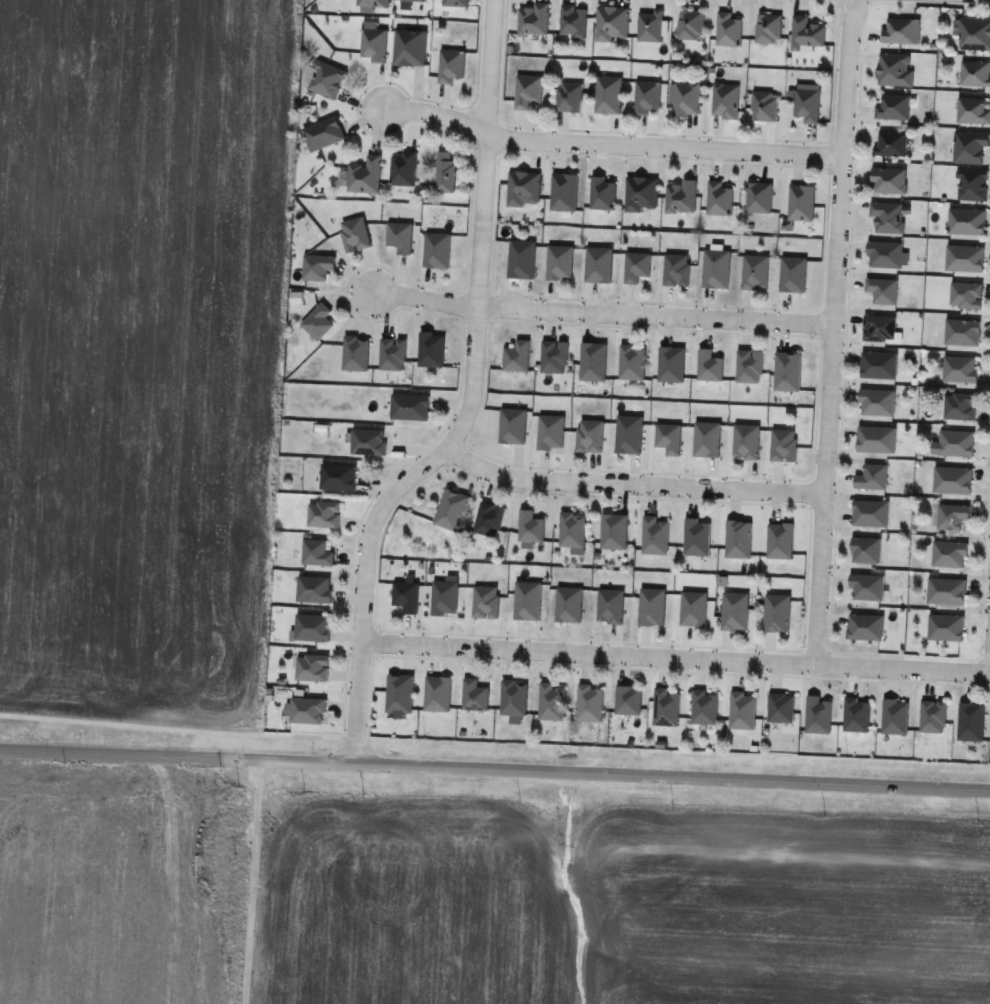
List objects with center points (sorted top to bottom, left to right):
building: (455, 3)
building: (369, 4)
building: (406, 4)
building: (532, 19)
building: (572, 20)
building: (611, 23)
building: (649, 25)
building: (690, 25)
building: (767, 28)
building: (728, 29)
building: (900, 30)
building: (805, 32)
building: (975, 33)
building: (372, 44)
building: (409, 47)
building: (450, 65)
building: (894, 69)
building: (974, 73)
building: (326, 79)
building: (527, 90)
building: (607, 94)
building: (568, 96)
building: (646, 96)
building: (685, 98)
building: (724, 100)
building: (806, 101)
building: (764, 106)
building: (892, 107)
building: (972, 110)
building: (322, 133)
road: (610, 143)
building: (890, 143)
building: (969, 146)
building: (402, 169)
building: (444, 171)
building: (364, 175)
building: (889, 180)
building: (971, 184)
building: (522, 188)
building: (563, 192)
building: (601, 192)
building: (641, 194)
building: (680, 197)
building: (758, 197)
building: (718, 198)
building: (800, 202)
building: (886, 217)
building: (966, 221)
building: (354, 234)
building: (399, 236)
building: (436, 250)
building: (884, 254)
building: (964, 258)
building: (521, 260)
building: (559, 263)
building: (598, 265)
building: (316, 267)
building: (636, 267)
building: (715, 268)
building: (676, 270)
building: (754, 273)
building: (792, 274)
building: (882, 290)
building: (966, 296)
road: (600, 315)
building: (317, 322)
building: (878, 328)
road: (831, 330)
building: (962, 332)
building: (431, 350)
building: (355, 353)
building: (391, 354)
building: (516, 357)
building: (553, 357)
building: (592, 362)
building: (631, 362)
building: (670, 364)
building: (878, 365)
building: (708, 366)
building: (748, 366)
building: (959, 369)
building: (787, 372)
road: (469, 400)
building: (876, 402)
building: (959, 406)
building: (409, 407)
building: (512, 426)
building: (550, 432)
building: (628, 435)
building: (589, 436)
building: (668, 438)
building: (875, 439)
building: (706, 440)
building: (745, 441)
building: (368, 442)
building: (955, 444)
building: (783, 445)
building: (337, 477)
building: (871, 477)
building: (952, 480)
road: (631, 483)
building: (451, 510)
building: (869, 513)
building: (323, 515)
building: (952, 516)
building: (488, 520)
building: (529, 527)
building: (572, 529)
building: (613, 532)
building: (654, 536)
building: (696, 537)
building: (737, 540)
building: (779, 541)
building: (865, 550)
building: (315, 553)
building: (949, 554)
building: (866, 587)
building: (314, 590)
building: (945, 591)
building: (406, 596)
building: (444, 597)
building: (527, 601)
building: (485, 602)
building: (567, 605)
building: (610, 607)
building: (651, 607)
building: (693, 610)
building: (734, 611)
building: (776, 613)
building: (864, 627)
building: (311, 628)
building: (945, 628)
road: (673, 656)
building: (312, 668)
building: (398, 693)
building: (437, 694)
building: (474, 695)
building: (513, 699)
building: (627, 700)
building: (551, 702)
building: (588, 703)
building: (665, 707)
building: (704, 708)
building: (780, 708)
building: (307, 711)
building: (741, 711)
building: (817, 715)
building: (855, 715)
building: (894, 717)
building: (932, 717)
building: (970, 721)
road: (495, 768)
road: (258, 881)

